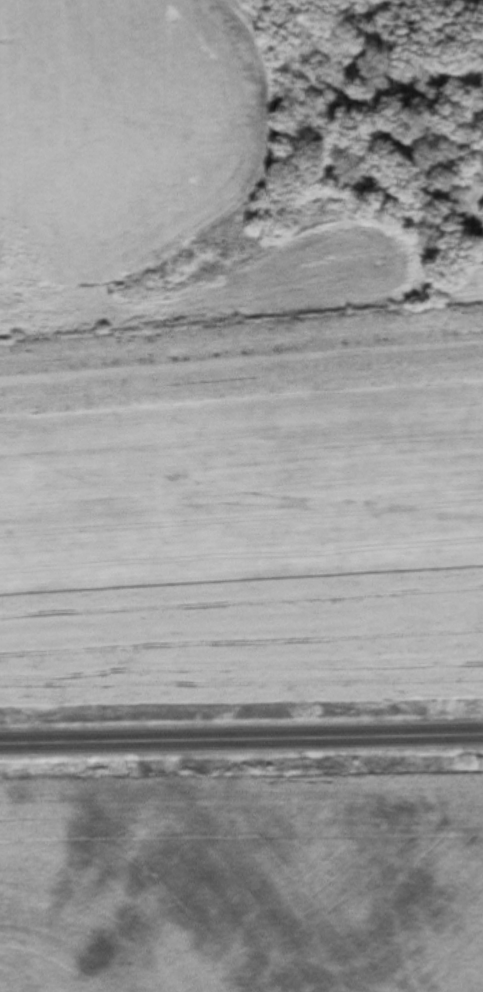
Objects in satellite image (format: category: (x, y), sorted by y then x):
road: (241, 742)

